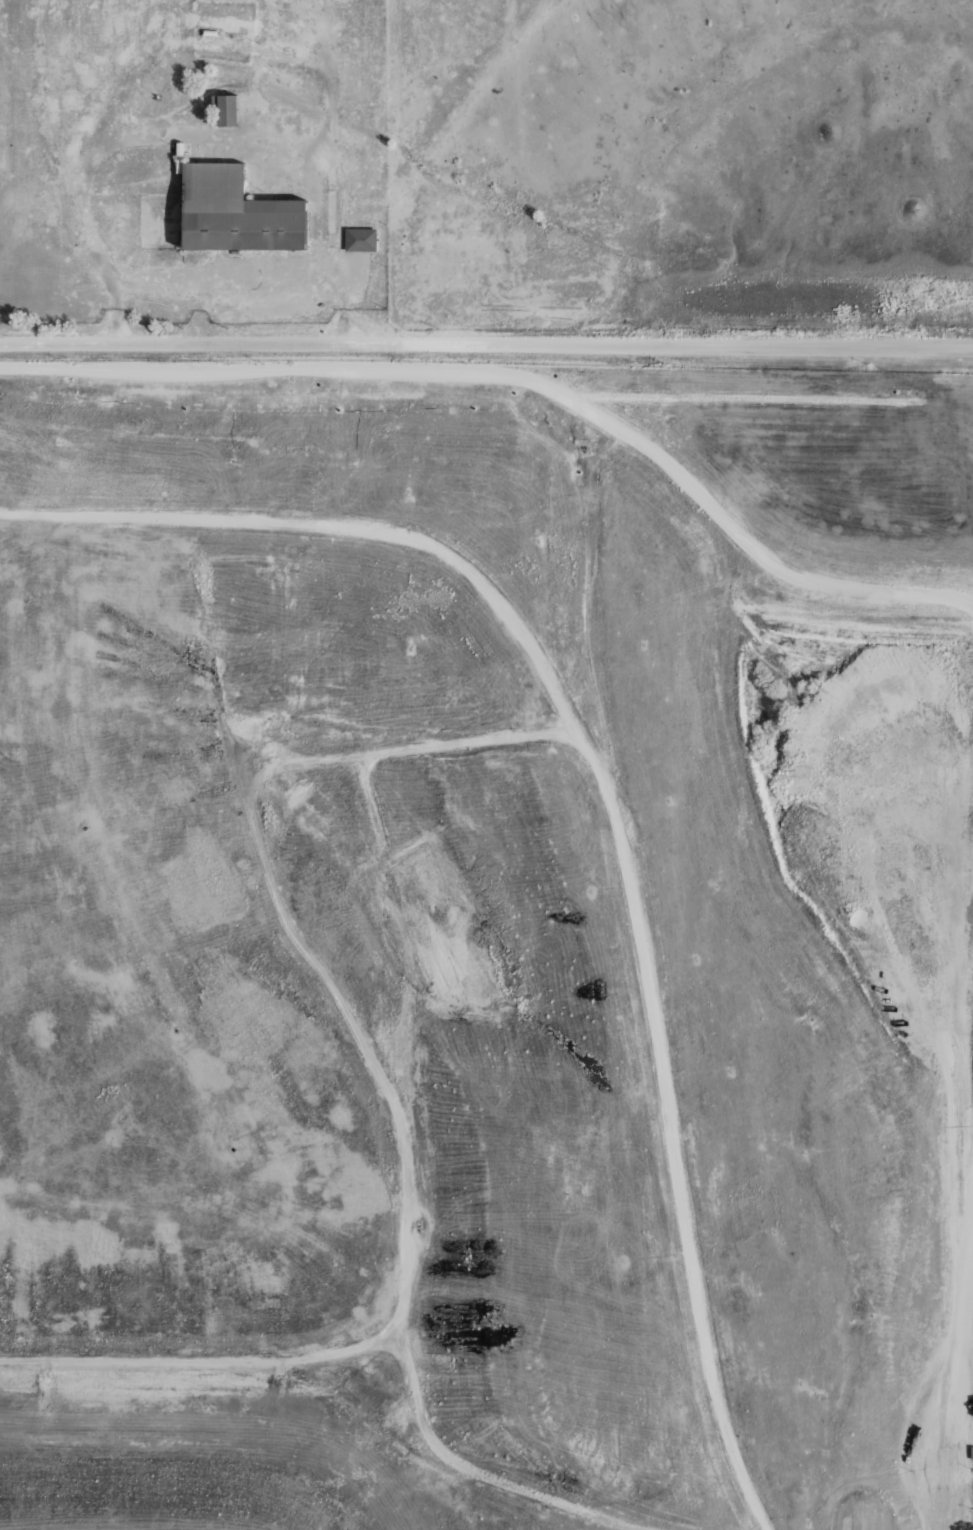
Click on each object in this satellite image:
building: (85, 22)
building: (209, 31)
road: (218, 44)
building: (227, 108)
road: (218, 138)
building: (180, 157)
building: (237, 211)
building: (360, 238)
building: (379, 246)
road: (486, 345)
road: (389, 371)
road: (842, 589)
road: (253, 785)
landfill: (485, 950)
road: (669, 1124)
road: (952, 1367)
road: (483, 1474)

